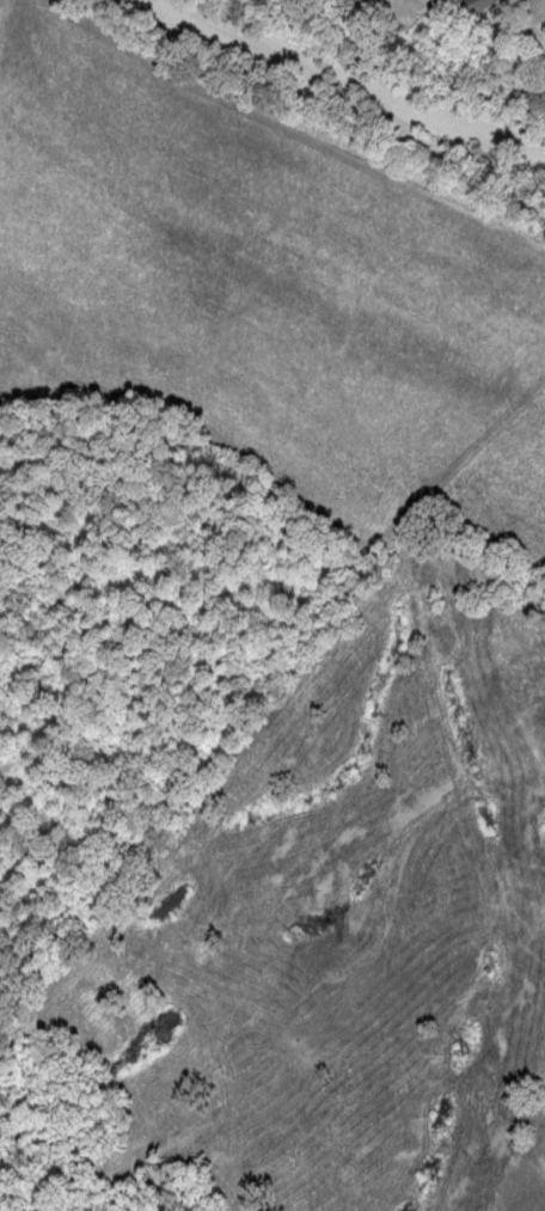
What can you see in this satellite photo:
building: (489, 5)
road: (342, 133)

